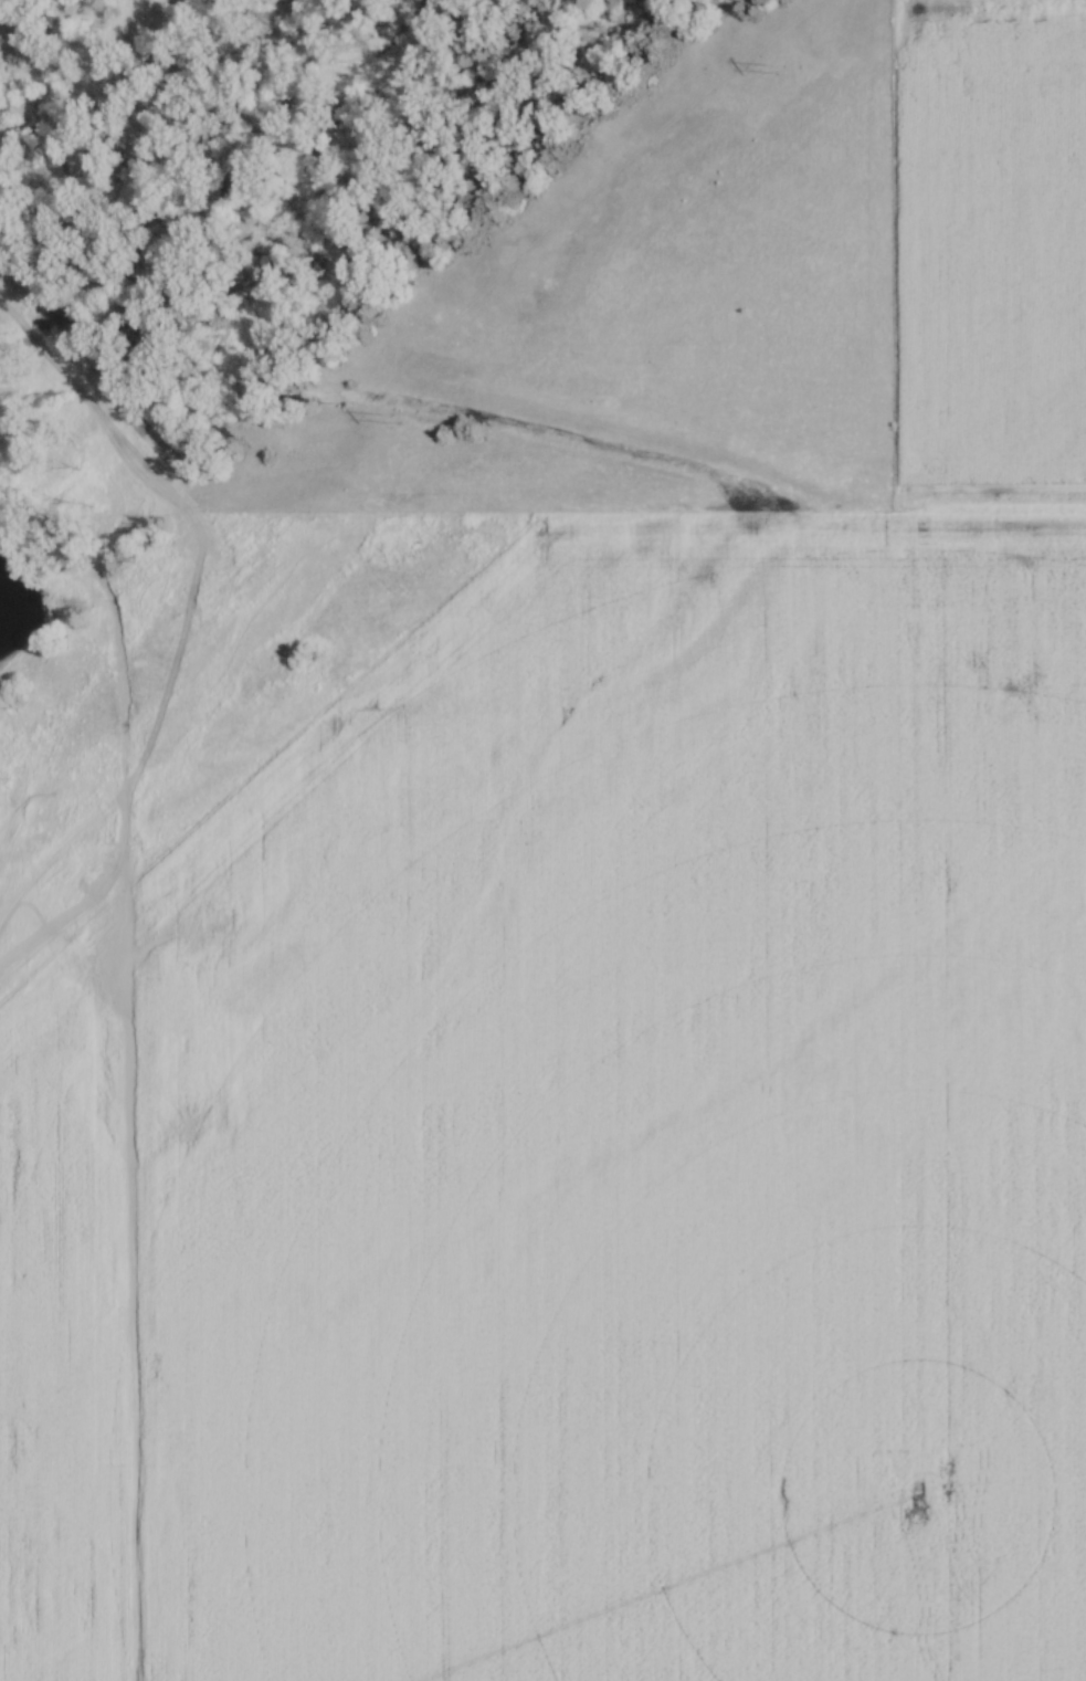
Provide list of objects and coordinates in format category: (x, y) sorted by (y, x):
power tower: (770, 69)
power tower: (391, 420)
power tower: (7, 776)

